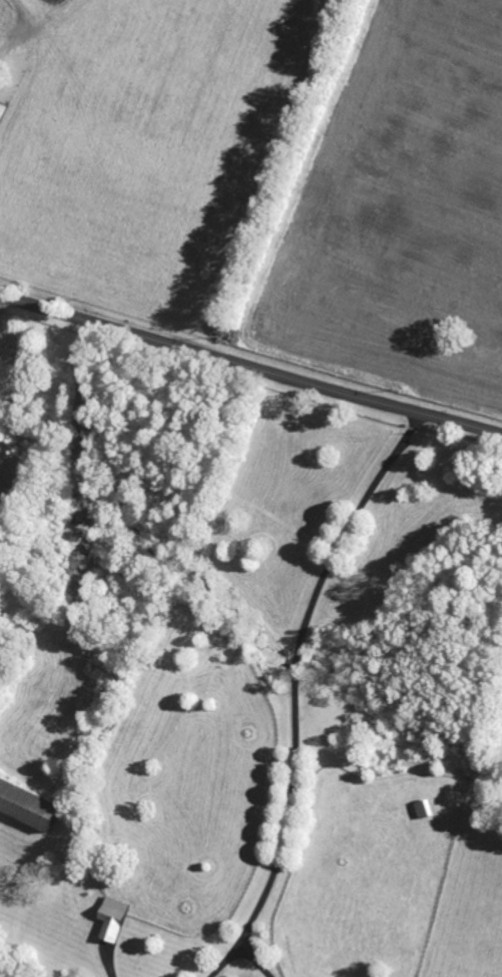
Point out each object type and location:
building: (3, 110)
road: (249, 369)
road: (296, 668)
building: (29, 804)
building: (424, 808)
building: (114, 917)
road: (227, 960)
road: (258, 960)
road: (108, 961)

